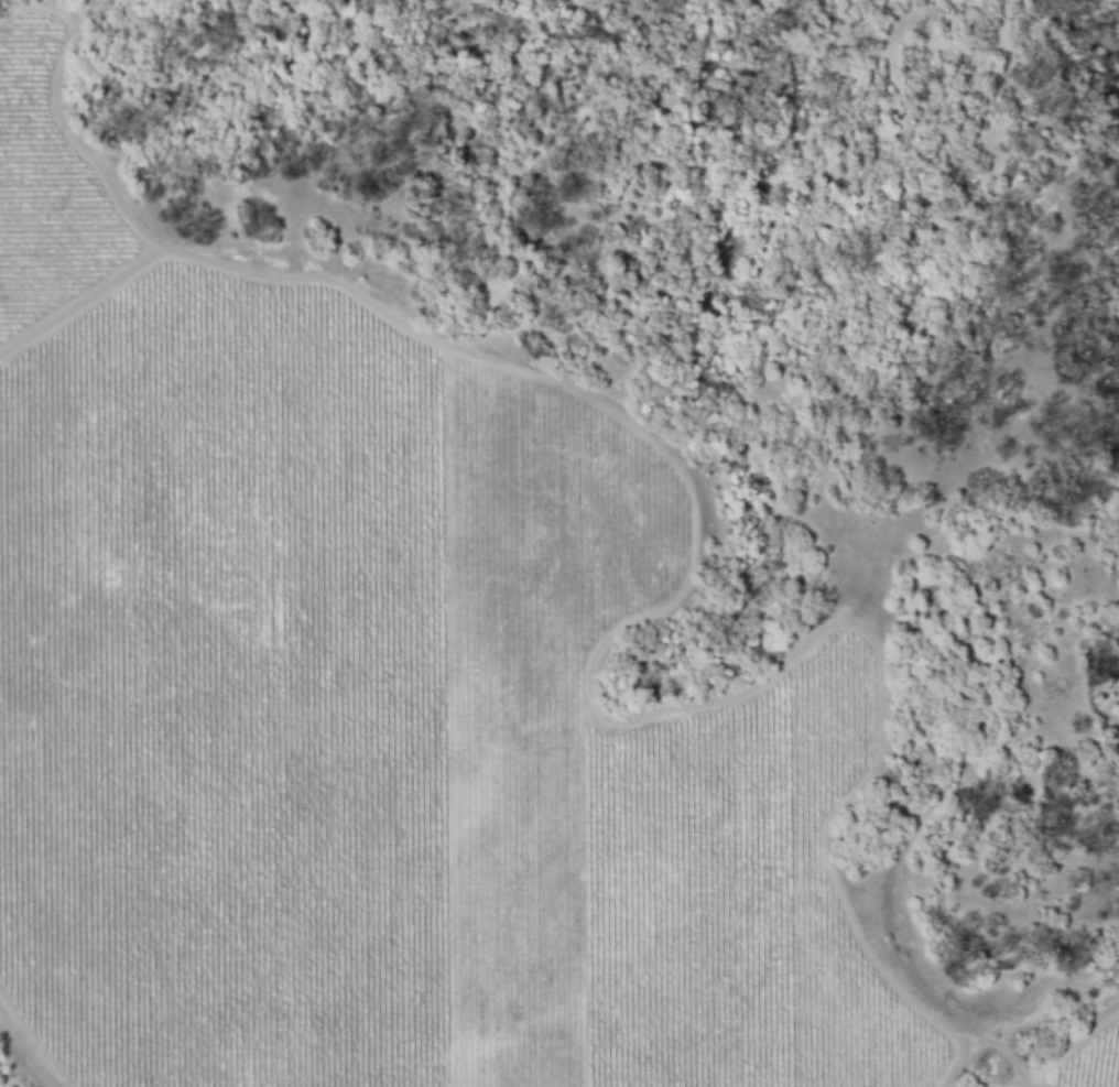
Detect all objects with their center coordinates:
road: (24, 1052)

